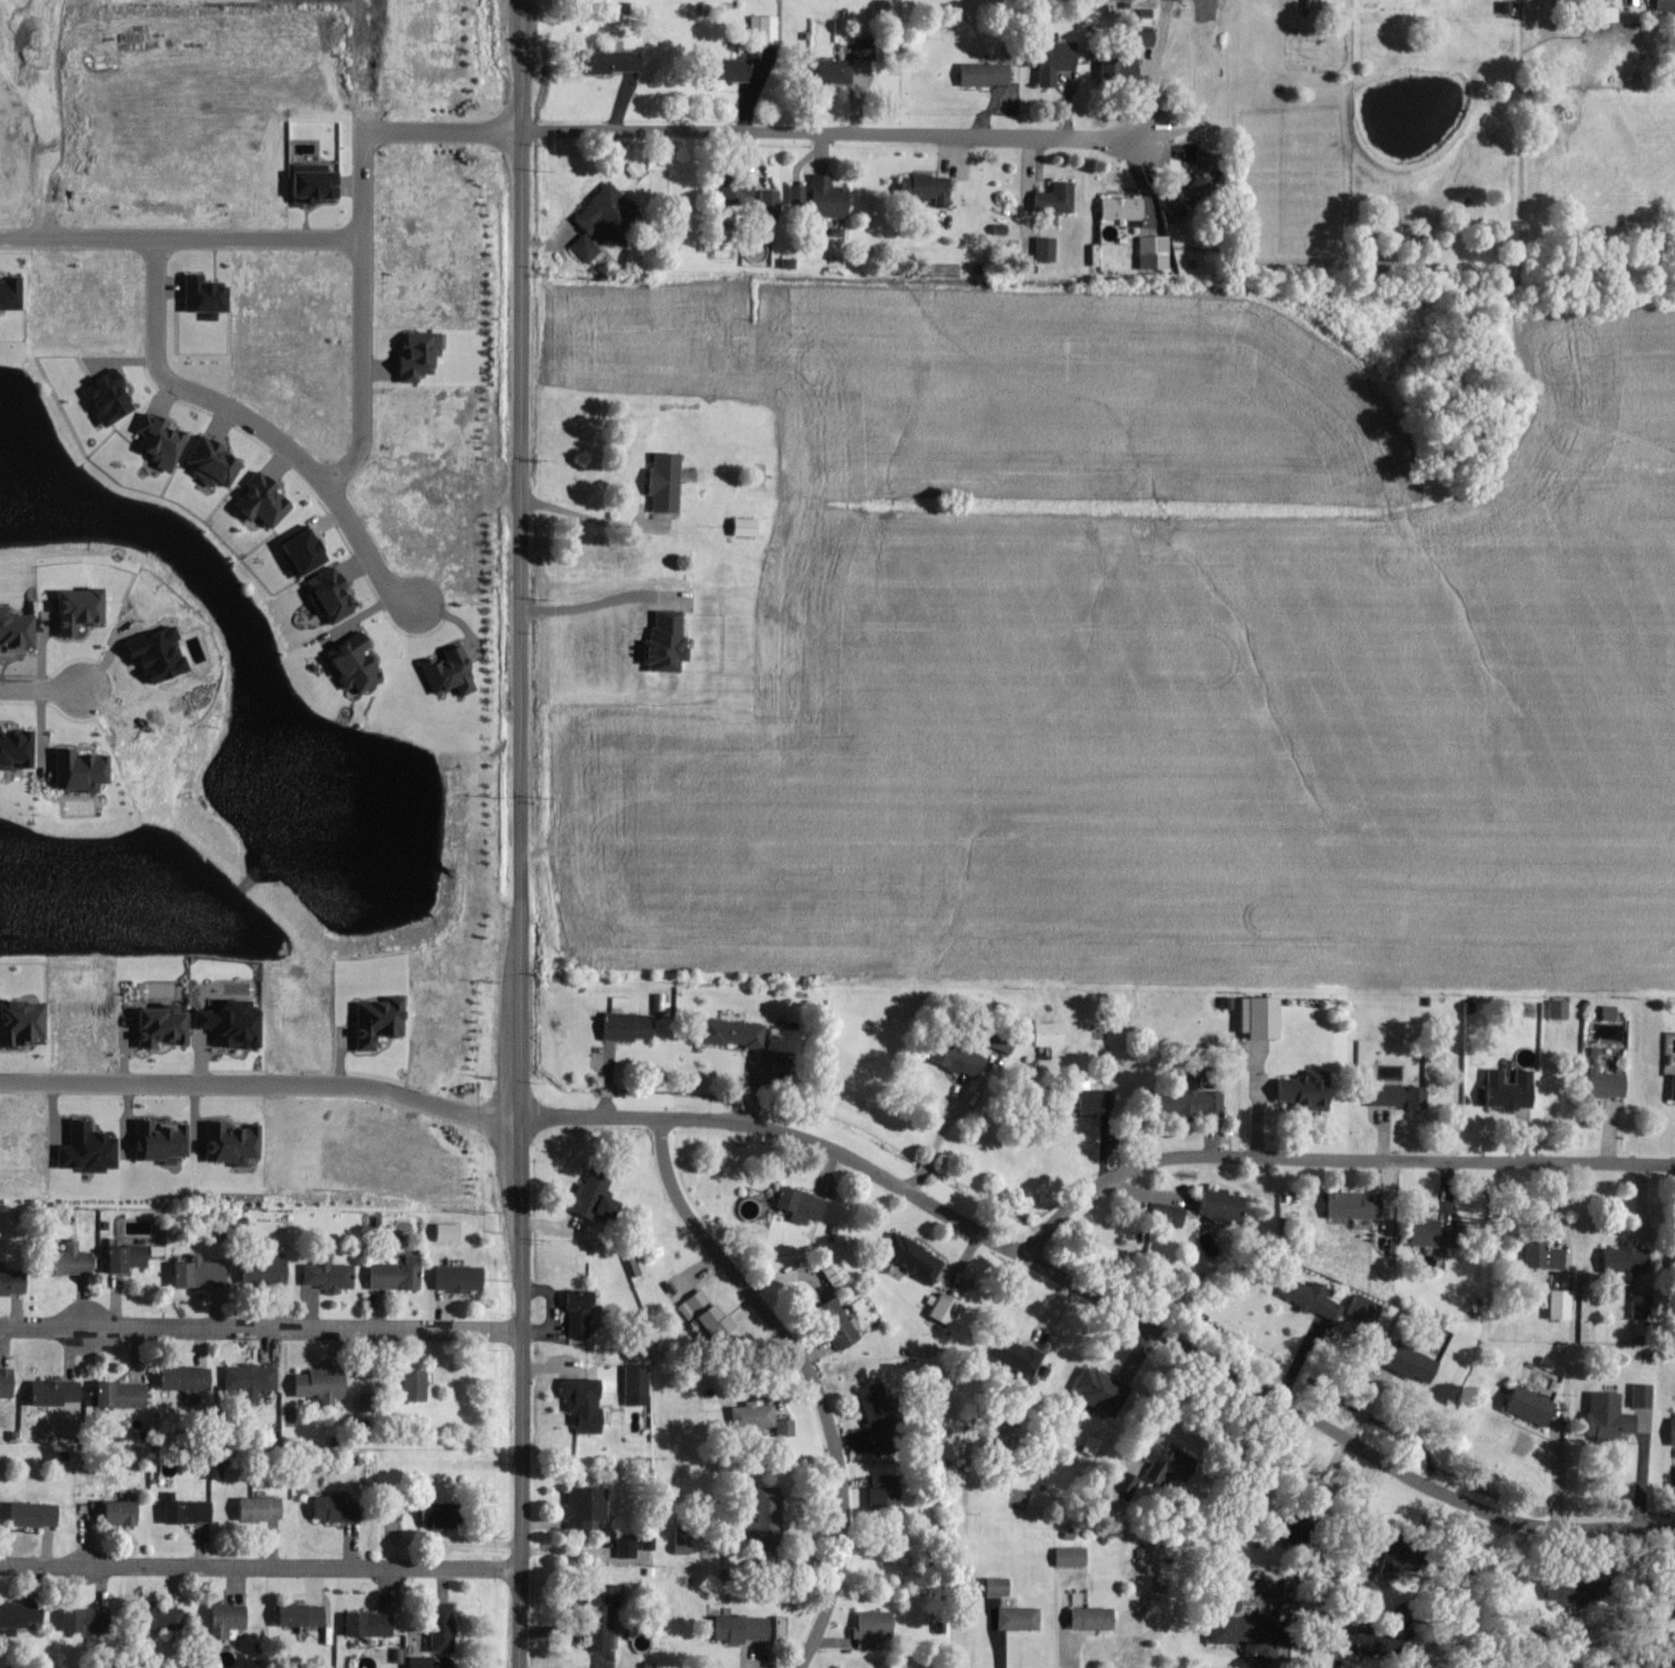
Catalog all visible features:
building: (1321, 3)
building: (1666, 4)
building: (768, 29)
building: (1149, 37)
building: (1058, 58)
building: (613, 61)
building: (737, 69)
building: (834, 71)
building: (1123, 72)
building: (988, 74)
road: (751, 133)
building: (1206, 175)
building: (317, 185)
building: (929, 187)
building: (649, 188)
building: (739, 192)
building: (802, 194)
building: (831, 197)
building: (1059, 198)
building: (773, 201)
building: (1125, 208)
building: (612, 215)
road: (180, 239)
building: (588, 248)
building: (1048, 249)
building: (1156, 252)
building: (12, 292)
building: (207, 296)
road: (361, 317)
building: (422, 355)
building: (112, 398)
road: (258, 429)
building: (163, 441)
building: (216, 463)
building: (668, 481)
building: (267, 500)
road: (591, 524)
building: (749, 527)
building: (307, 553)
building: (333, 595)
road: (600, 603)
building: (81, 609)
building: (668, 643)
building: (358, 663)
building: (453, 672)
road: (43, 690)
building: (18, 748)
building: (84, 770)
road: (520, 834)
building: (1562, 1008)
building: (1612, 1011)
building: (1264, 1016)
building: (381, 1021)
building: (26, 1022)
building: (237, 1025)
building: (167, 1026)
building: (632, 1026)
building: (736, 1032)
building: (1053, 1032)
building: (788, 1039)
building: (1003, 1040)
building: (961, 1058)
building: (1611, 1082)
building: (1312, 1088)
building: (1513, 1088)
road: (329, 1091)
building: (1400, 1095)
building: (1098, 1100)
building: (1195, 1100)
building: (165, 1140)
building: (236, 1141)
road: (937, 1142)
building: (93, 1148)
road: (1331, 1157)
building: (598, 1196)
building: (805, 1204)
building: (1227, 1204)
building: (1358, 1204)
building: (1172, 1214)
building: (452, 1232)
building: (1434, 1232)
building: (1546, 1255)
building: (130, 1257)
building: (916, 1257)
building: (1630, 1258)
building: (72, 1259)
building: (268, 1270)
building: (331, 1272)
building: (203, 1274)
building: (399, 1274)
building: (461, 1277)
building: (14, 1280)
building: (1314, 1298)
building: (1564, 1303)
building: (1644, 1306)
building: (948, 1309)
building: (1368, 1309)
building: (581, 1313)
building: (713, 1313)
building: (841, 1322)
road: (260, 1326)
road: (1162, 1334)
building: (1020, 1354)
building: (1416, 1363)
road: (809, 1375)
building: (189, 1377)
building: (253, 1378)
building: (8, 1382)
building: (325, 1384)
building: (418, 1384)
building: (640, 1384)
building: (1105, 1389)
building: (59, 1391)
building: (124, 1394)
building: (1646, 1394)
building: (587, 1402)
building: (1535, 1405)
building: (758, 1415)
building: (1613, 1415)
building: (884, 1418)
building: (788, 1428)
building: (1674, 1441)
building: (1171, 1463)
building: (218, 1470)
building: (888, 1491)
building: (588, 1506)
building: (263, 1508)
building: (339, 1508)
building: (191, 1510)
building: (124, 1512)
building: (398, 1512)
building: (771, 1513)
building: (37, 1514)
building: (443, 1514)
building: (651, 1539)
building: (686, 1539)
building: (629, 1546)
building: (1075, 1556)
road: (259, 1566)
building: (1000, 1586)
building: (1578, 1589)
building: (22, 1613)
building: (305, 1614)
building: (162, 1617)
building: (89, 1618)
building: (230, 1618)
building: (1022, 1618)
building: (1096, 1618)
building: (603, 1620)
building: (372, 1623)
building: (445, 1626)
building: (749, 1627)
building: (875, 1628)
building: (1257, 1633)
building: (1364, 1640)
building: (423, 1661)

